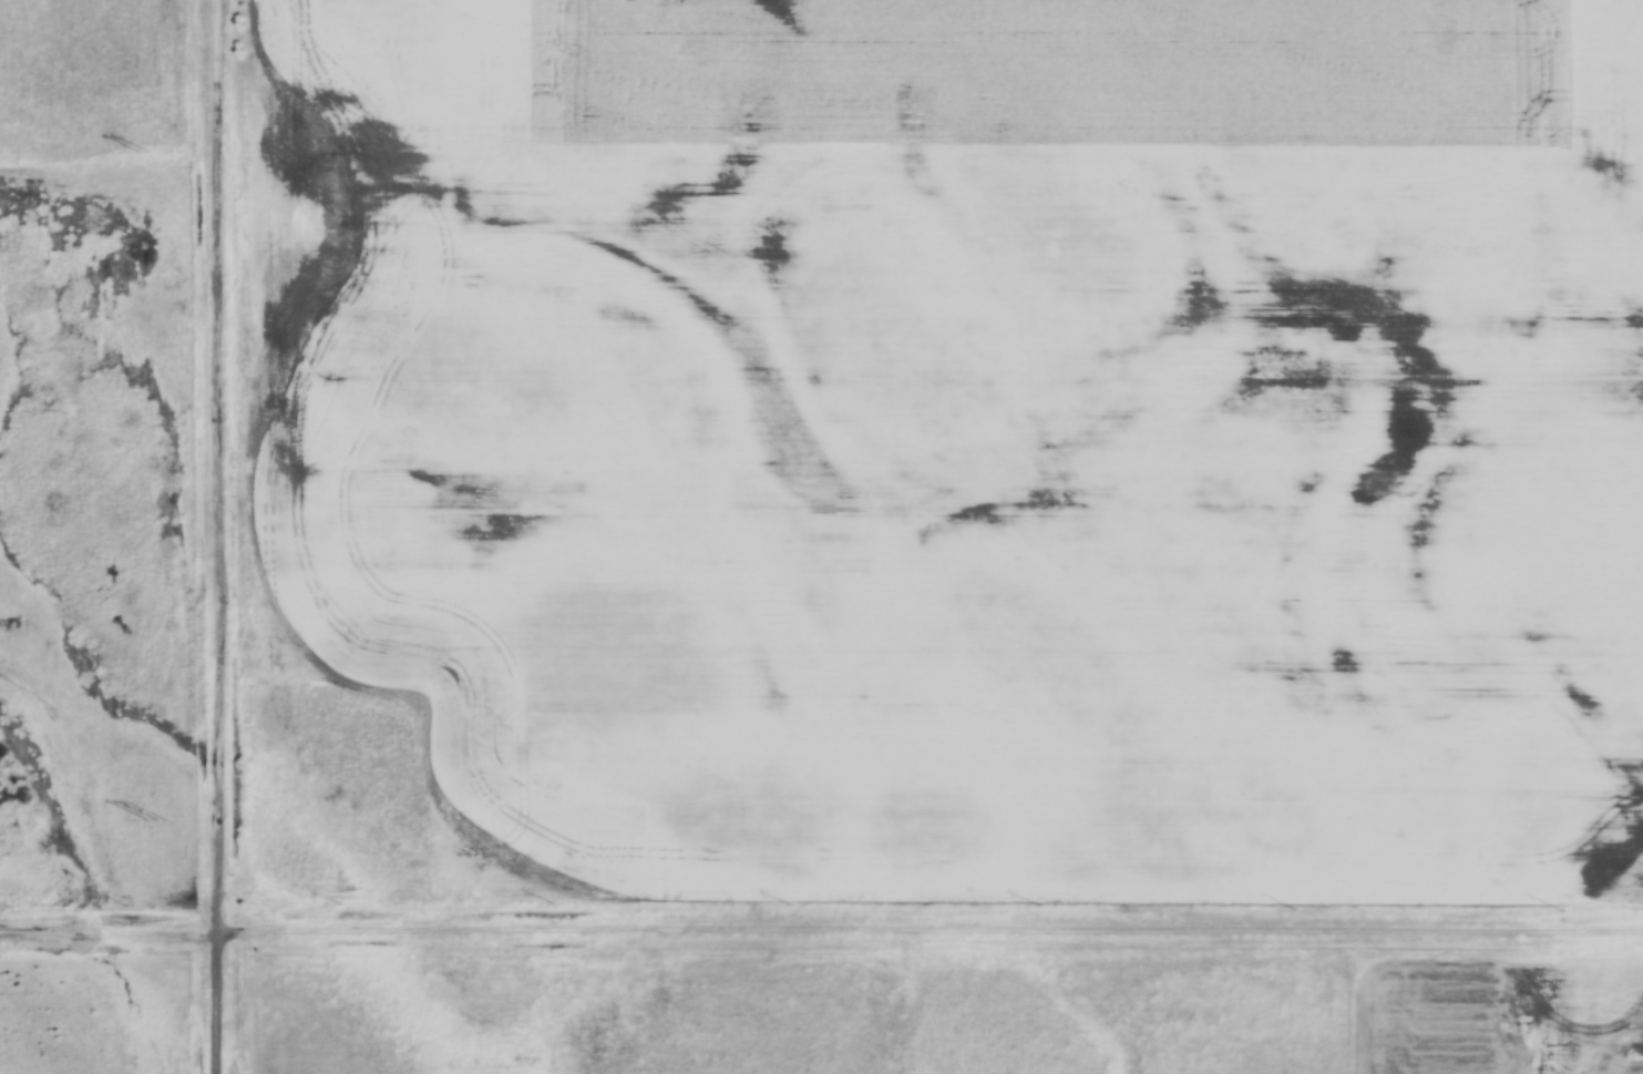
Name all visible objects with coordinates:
power tower: (144, 152)
road: (223, 536)
power tower: (156, 821)
road: (933, 925)
road: (111, 932)

